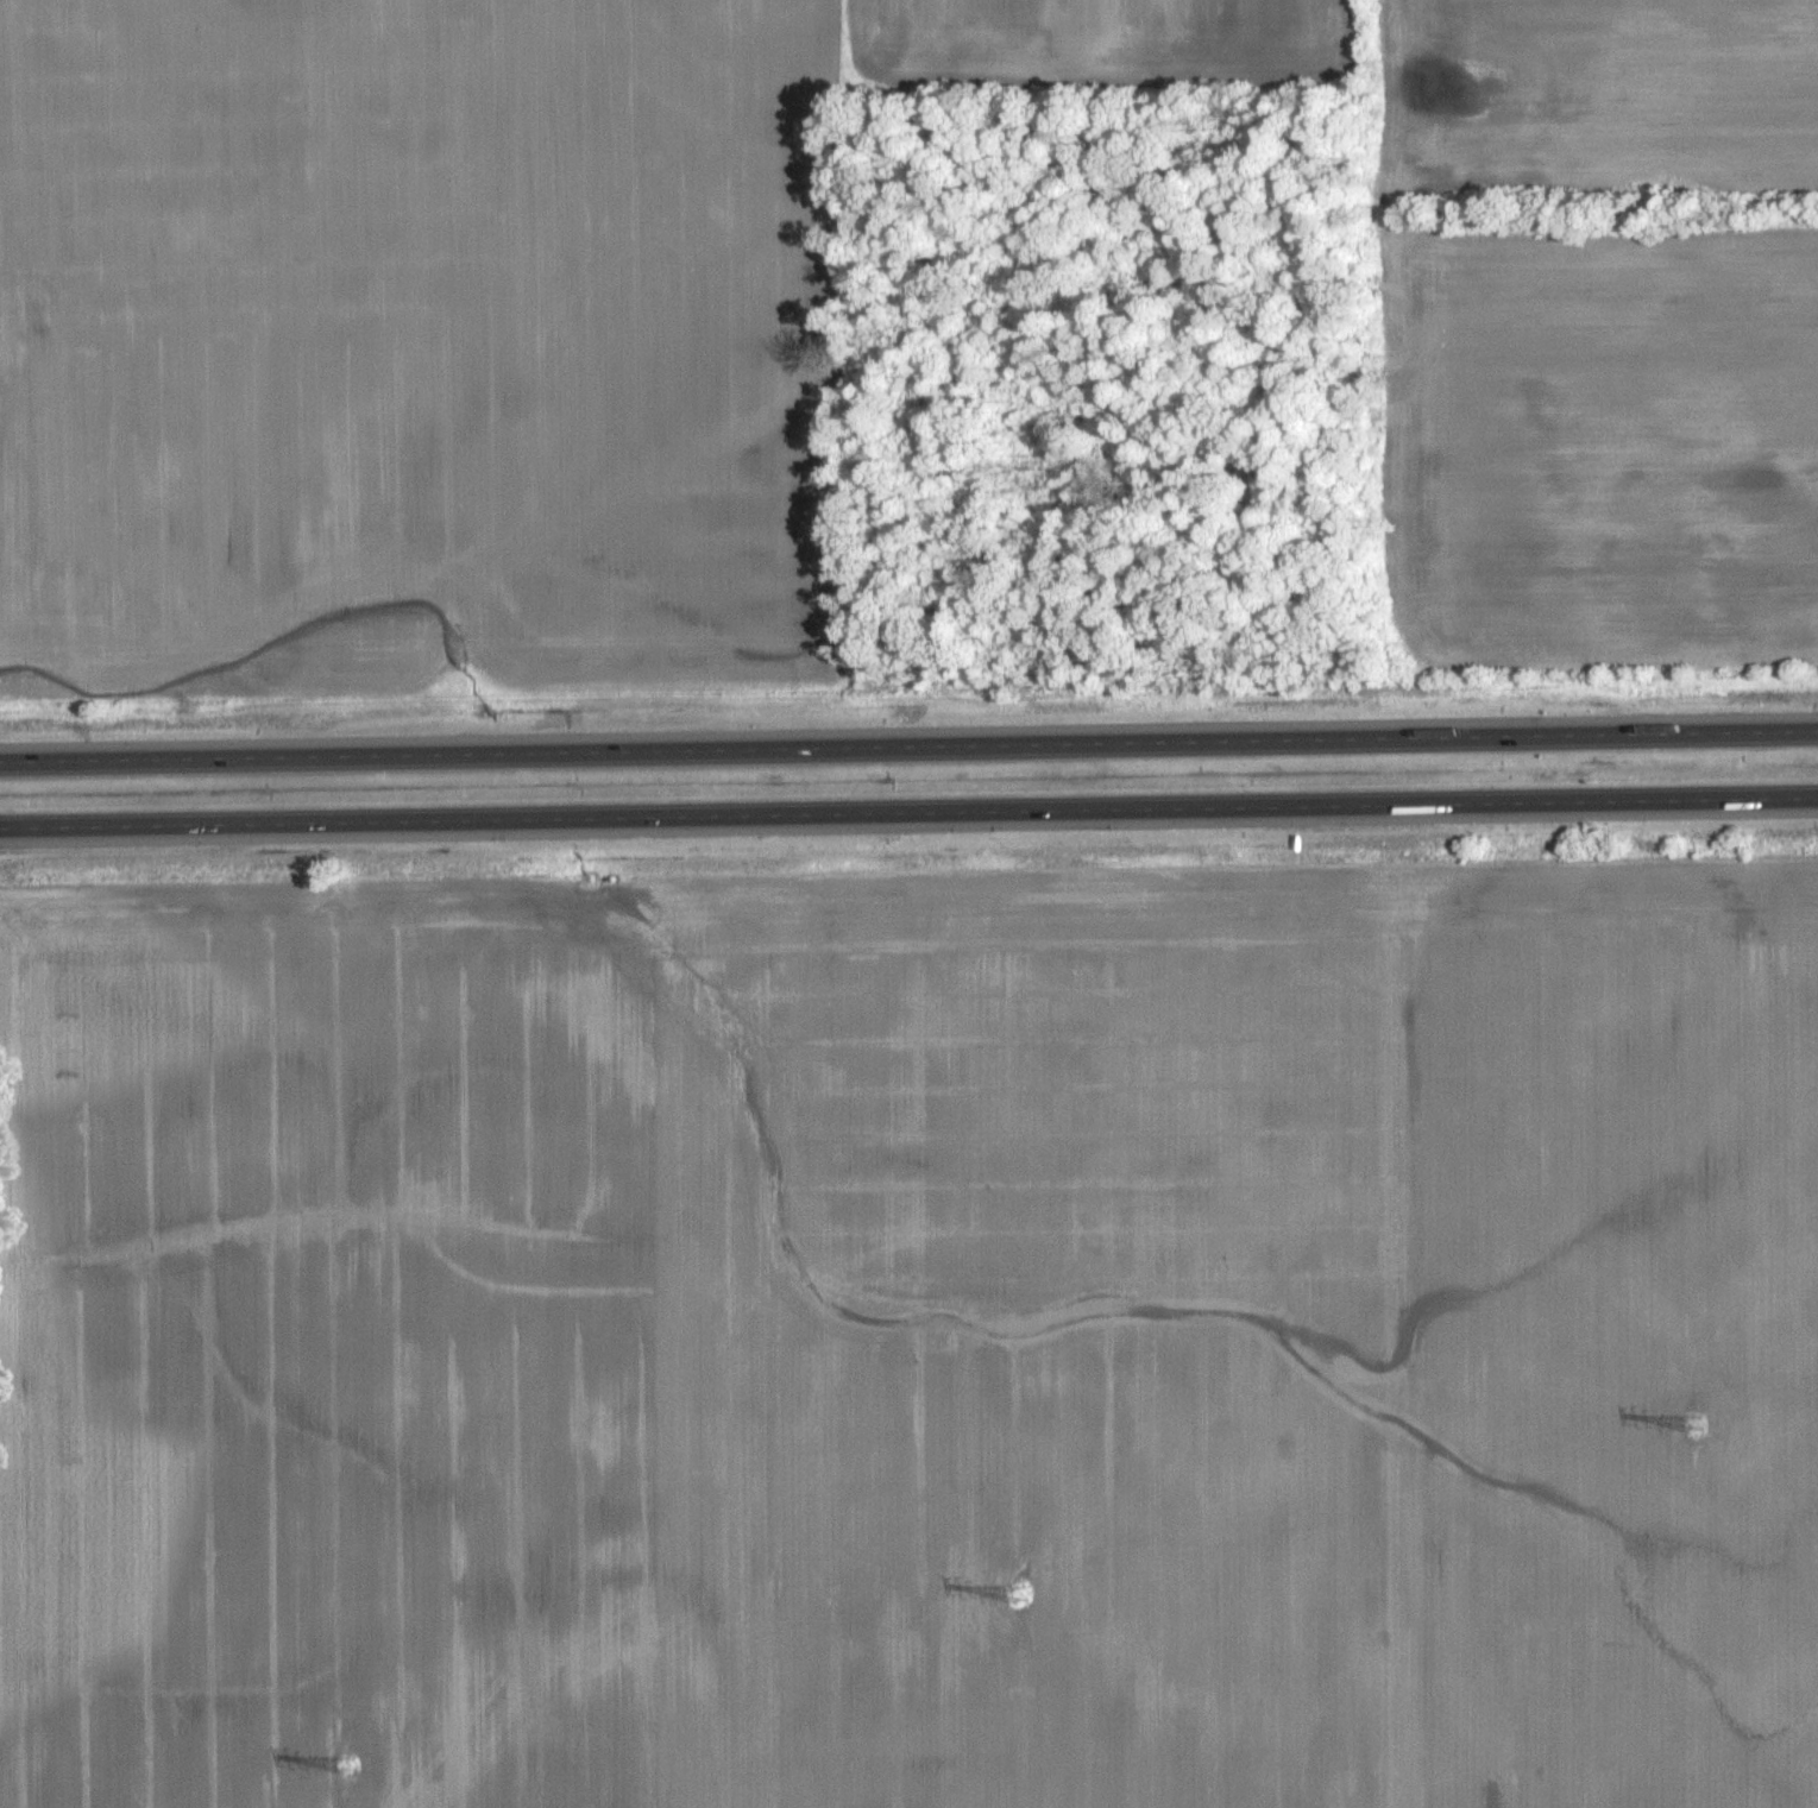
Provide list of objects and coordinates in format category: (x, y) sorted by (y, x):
road: (1672, 732)
road: (763, 748)
road: (908, 813)
power tower: (1698, 1423)
power tower: (1021, 1596)
power tower: (348, 1766)

